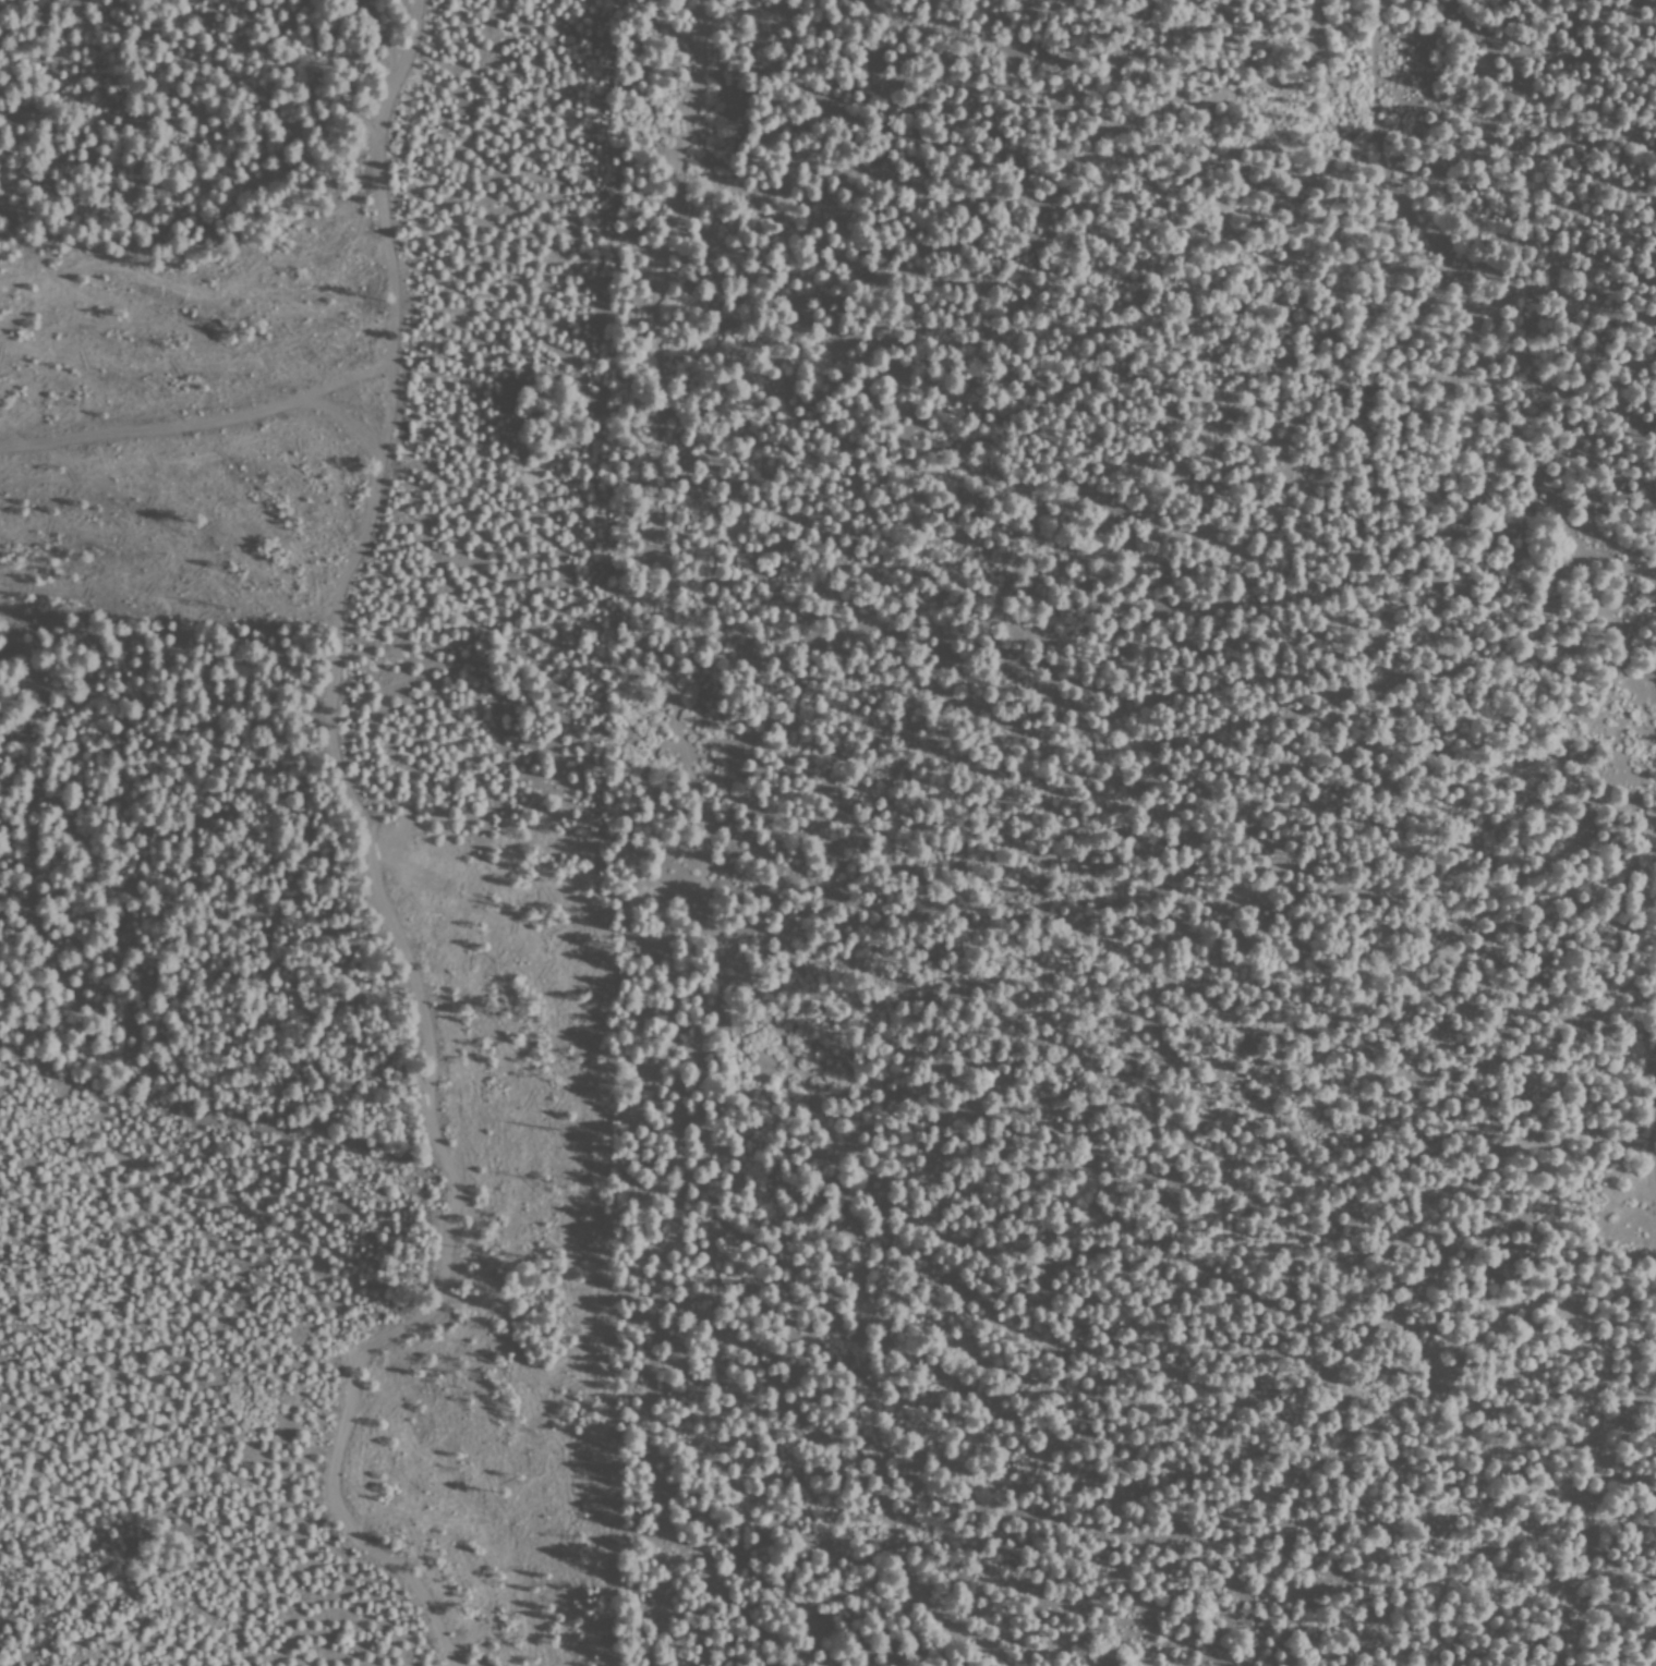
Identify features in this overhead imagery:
road: (662, 314)

